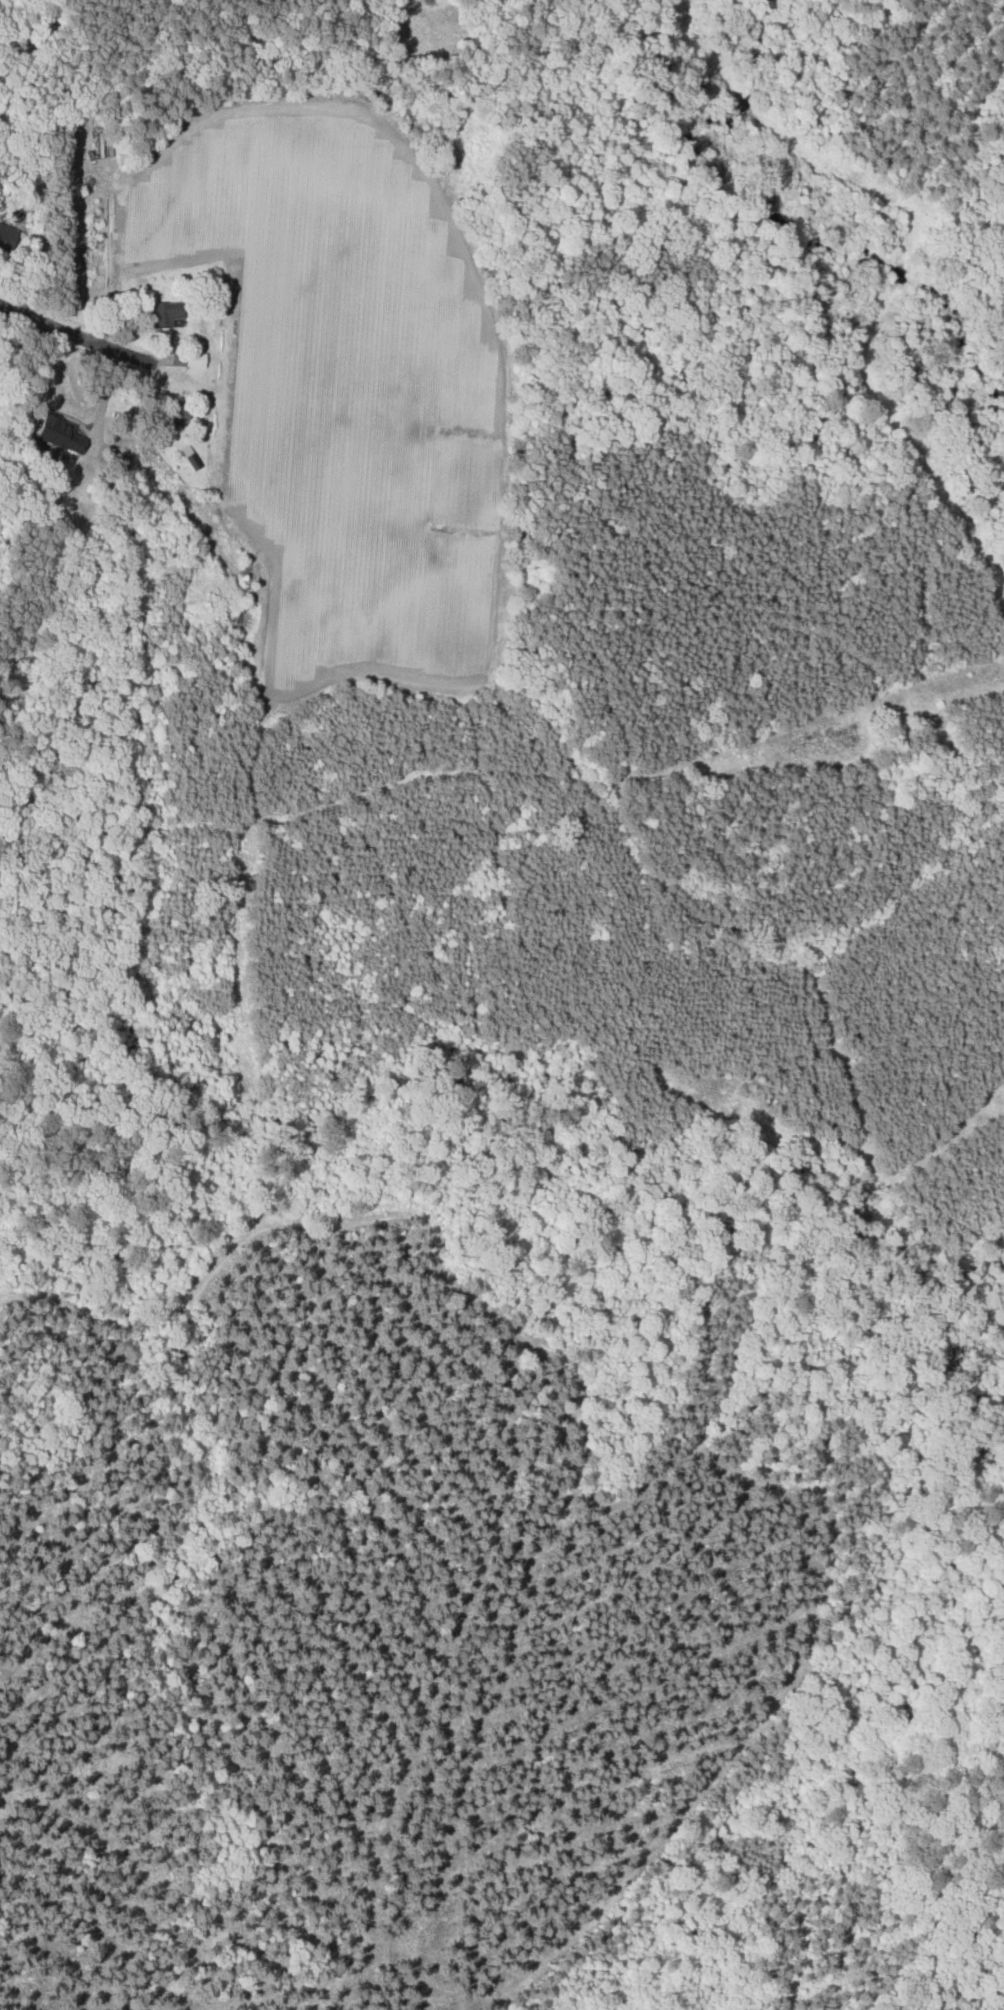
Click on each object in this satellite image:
building: (8, 234)
building: (170, 312)
road: (77, 341)
building: (193, 357)
road: (101, 402)
building: (62, 434)
building: (192, 456)

